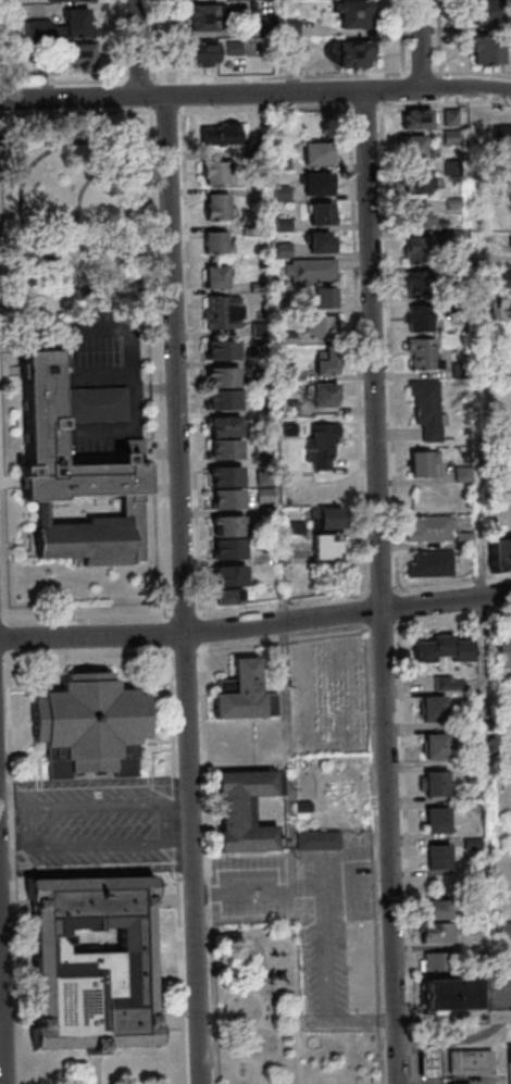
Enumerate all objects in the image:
building: (76, 0)
building: (486, 12)
building: (352, 14)
building: (202, 17)
building: (61, 27)
road: (419, 46)
road: (138, 48)
building: (487, 51)
building: (354, 53)
building: (202, 55)
road: (255, 95)
building: (416, 119)
building: (226, 133)
building: (502, 139)
building: (413, 146)
building: (317, 154)
building: (216, 172)
building: (416, 182)
building: (319, 184)
building: (217, 205)
building: (321, 213)
building: (419, 215)
building: (215, 241)
building: (322, 241)
building: (419, 250)
building: (312, 270)
building: (217, 276)
building: (419, 286)
building: (501, 294)
building: (325, 297)
building: (224, 312)
building: (420, 321)
building: (322, 326)
building: (260, 327)
road: (100, 333)
building: (222, 349)
building: (423, 354)
building: (326, 361)
building: (506, 365)
building: (223, 376)
parking lot: (102, 378)
building: (325, 394)
building: (224, 399)
building: (427, 407)
building: (508, 423)
building: (226, 426)
road: (125, 432)
building: (322, 441)
building: (225, 449)
building: (422, 463)
building: (77, 473)
building: (226, 487)
building: (265, 495)
building: (326, 518)
building: (428, 528)
building: (228, 537)
building: (326, 547)
building: (499, 555)
building: (429, 564)
building: (230, 584)
road: (379, 588)
road: (180, 590)
road: (255, 625)
road: (284, 639)
building: (444, 650)
building: (502, 656)
building: (448, 685)
building: (240, 691)
building: (434, 708)
building: (90, 724)
building: (436, 745)
building: (435, 783)
road: (15, 793)
park: (502, 793)
building: (242, 810)
building: (438, 819)
road: (163, 820)
road: (23, 825)
building: (319, 839)
road: (374, 857)
building: (438, 857)
road: (208, 867)
parking lot: (306, 900)
building: (438, 909)
building: (438, 932)
building: (436, 961)
building: (94, 965)
building: (451, 994)
park: (259, 1002)
road: (1, 1026)
building: (433, 1061)
building: (474, 1061)
building: (509, 1063)
building: (468, 1083)

